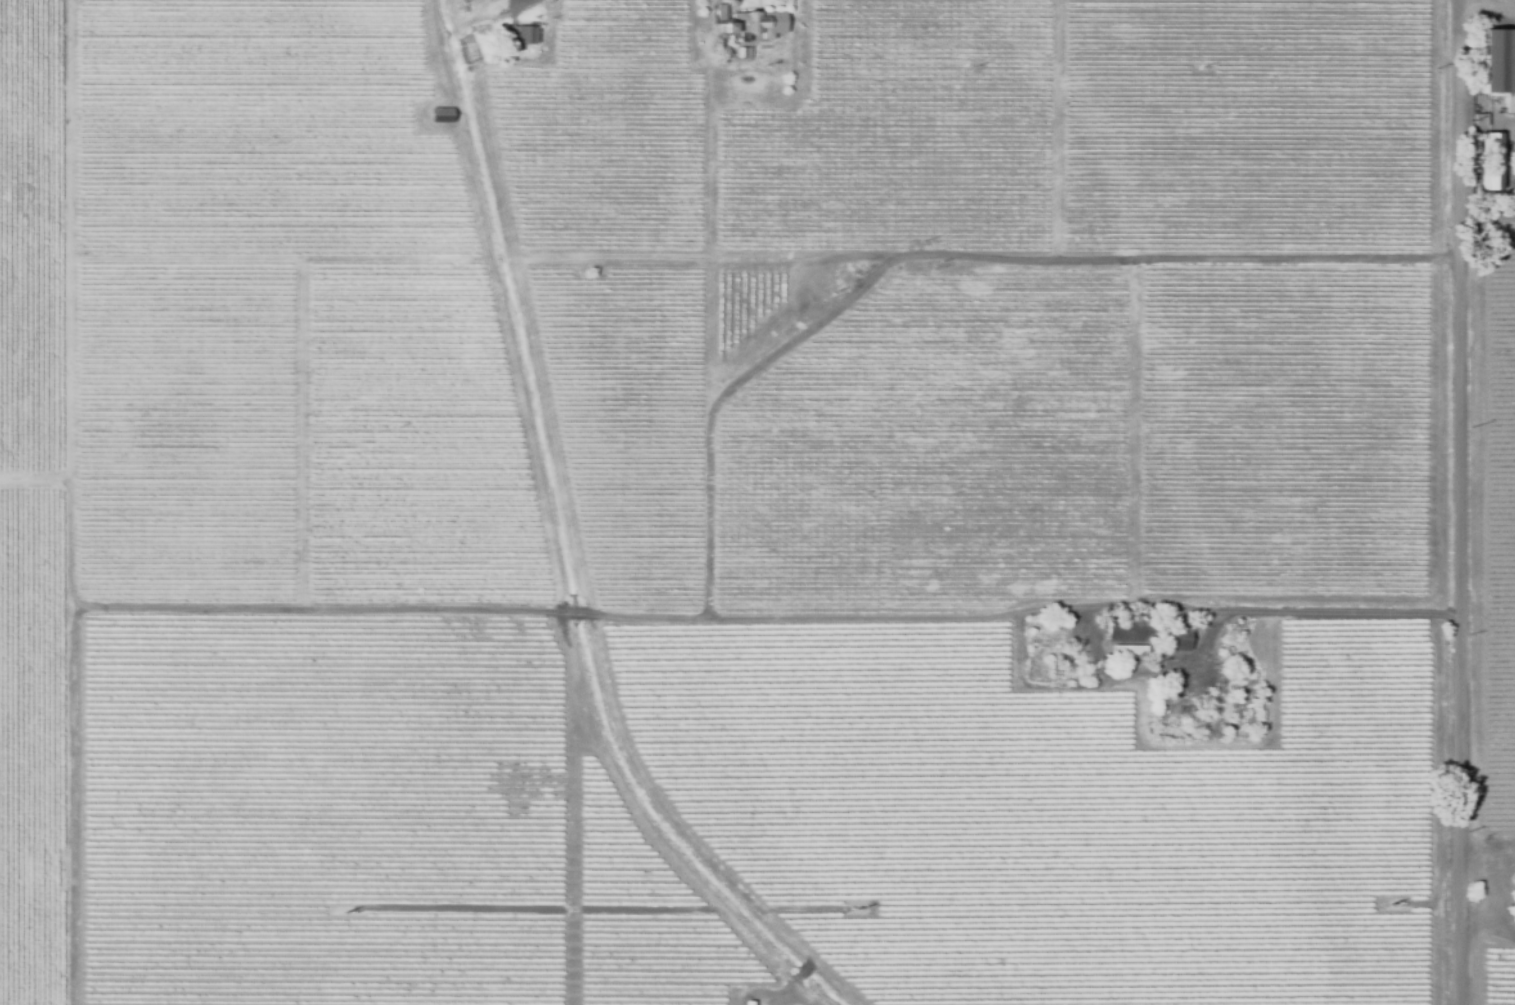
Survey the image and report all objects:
road: (1488, 4)
road: (503, 5)
building: (721, 13)
building: (757, 23)
building: (477, 29)
building: (524, 35)
building: (745, 53)
building: (1497, 62)
building: (442, 116)
building: (1477, 121)
building: (1488, 163)
road: (1448, 502)
road: (1143, 606)
building: (1050, 637)
building: (1154, 637)
building: (1059, 652)
building: (1131, 652)
building: (1074, 666)
building: (1178, 703)
building: (1240, 712)
building: (749, 1002)

